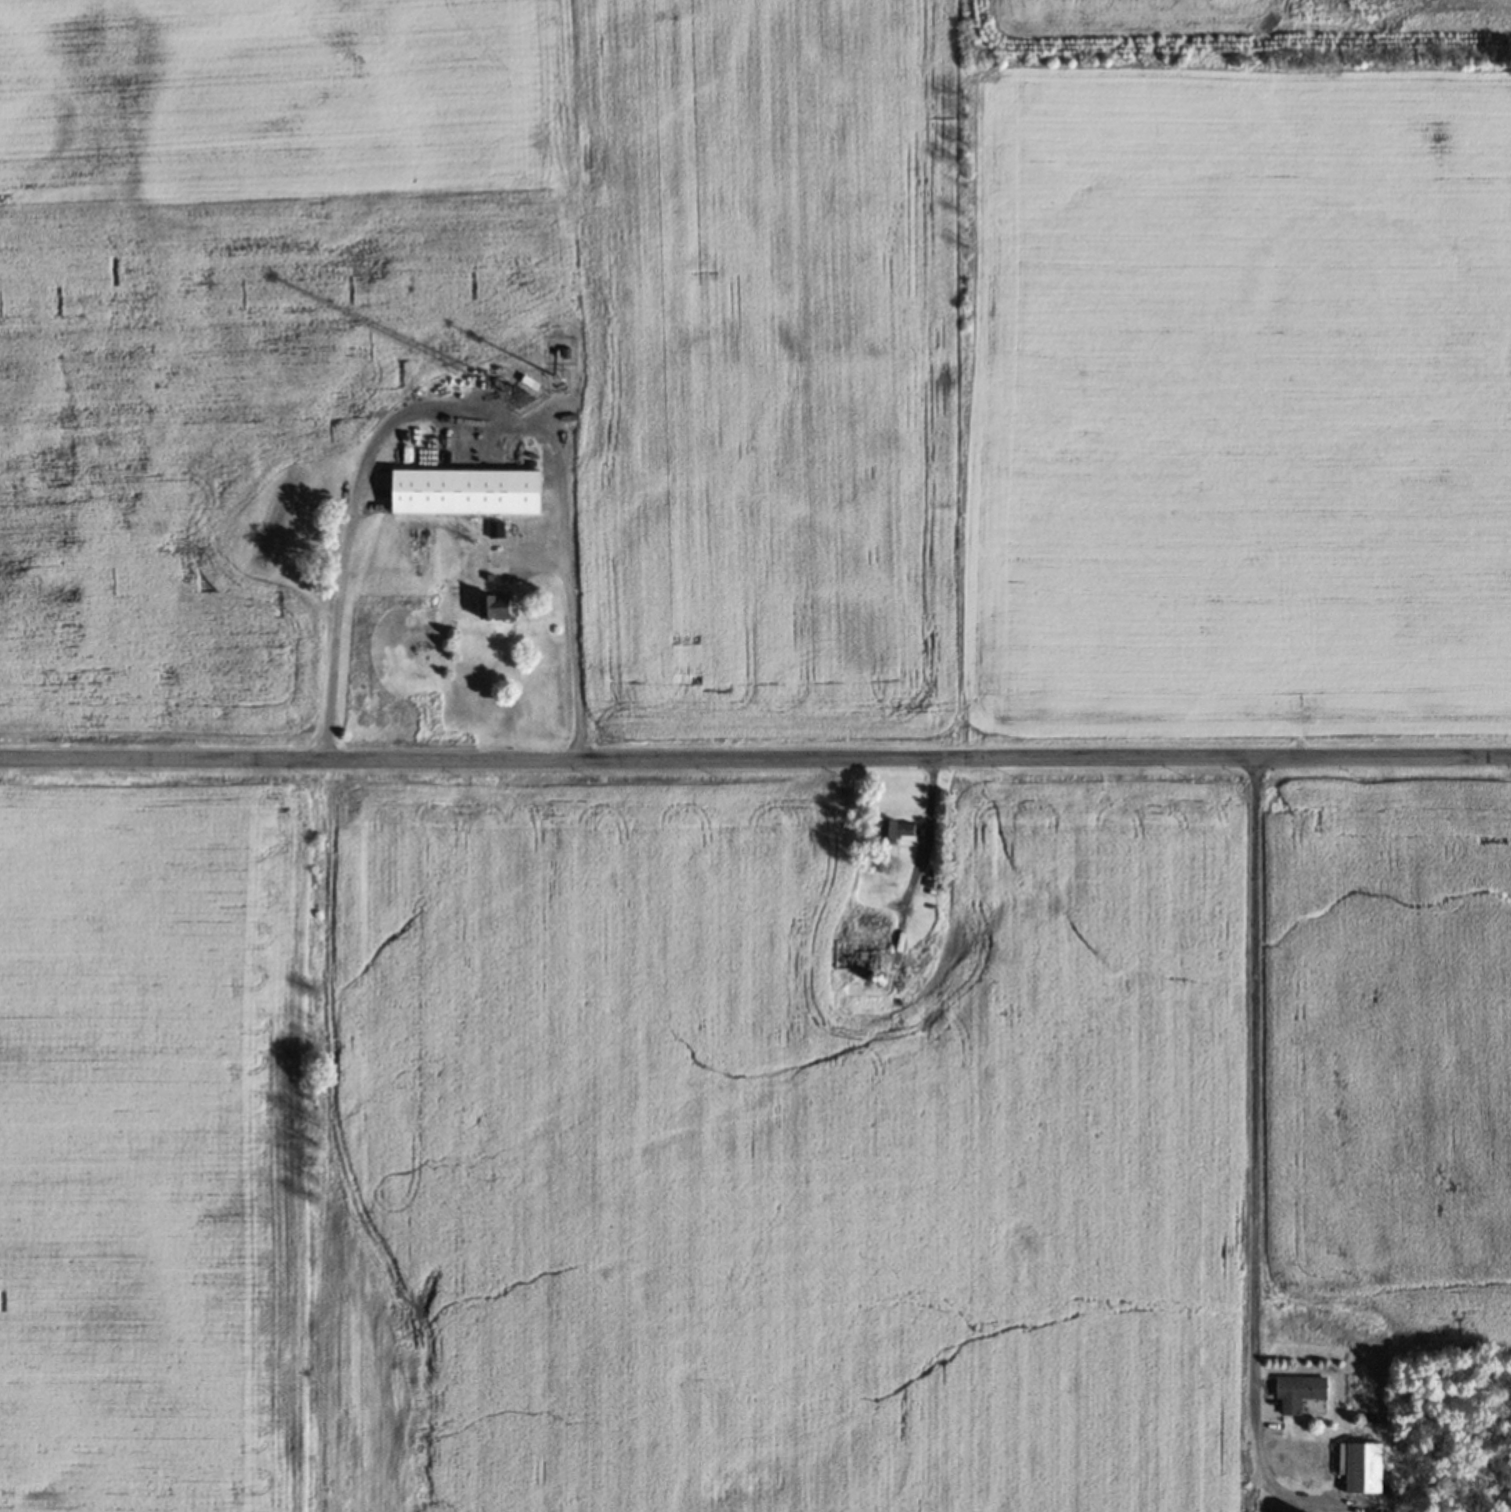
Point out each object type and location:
road: (1478, 1)
building: (466, 490)
building: (495, 528)
road: (346, 539)
building: (499, 606)
road: (569, 632)
road: (755, 759)
building: (891, 831)
road: (918, 852)
road: (1252, 1087)
crop: (724, 1128)
building: (1298, 1392)
building: (1363, 1468)

